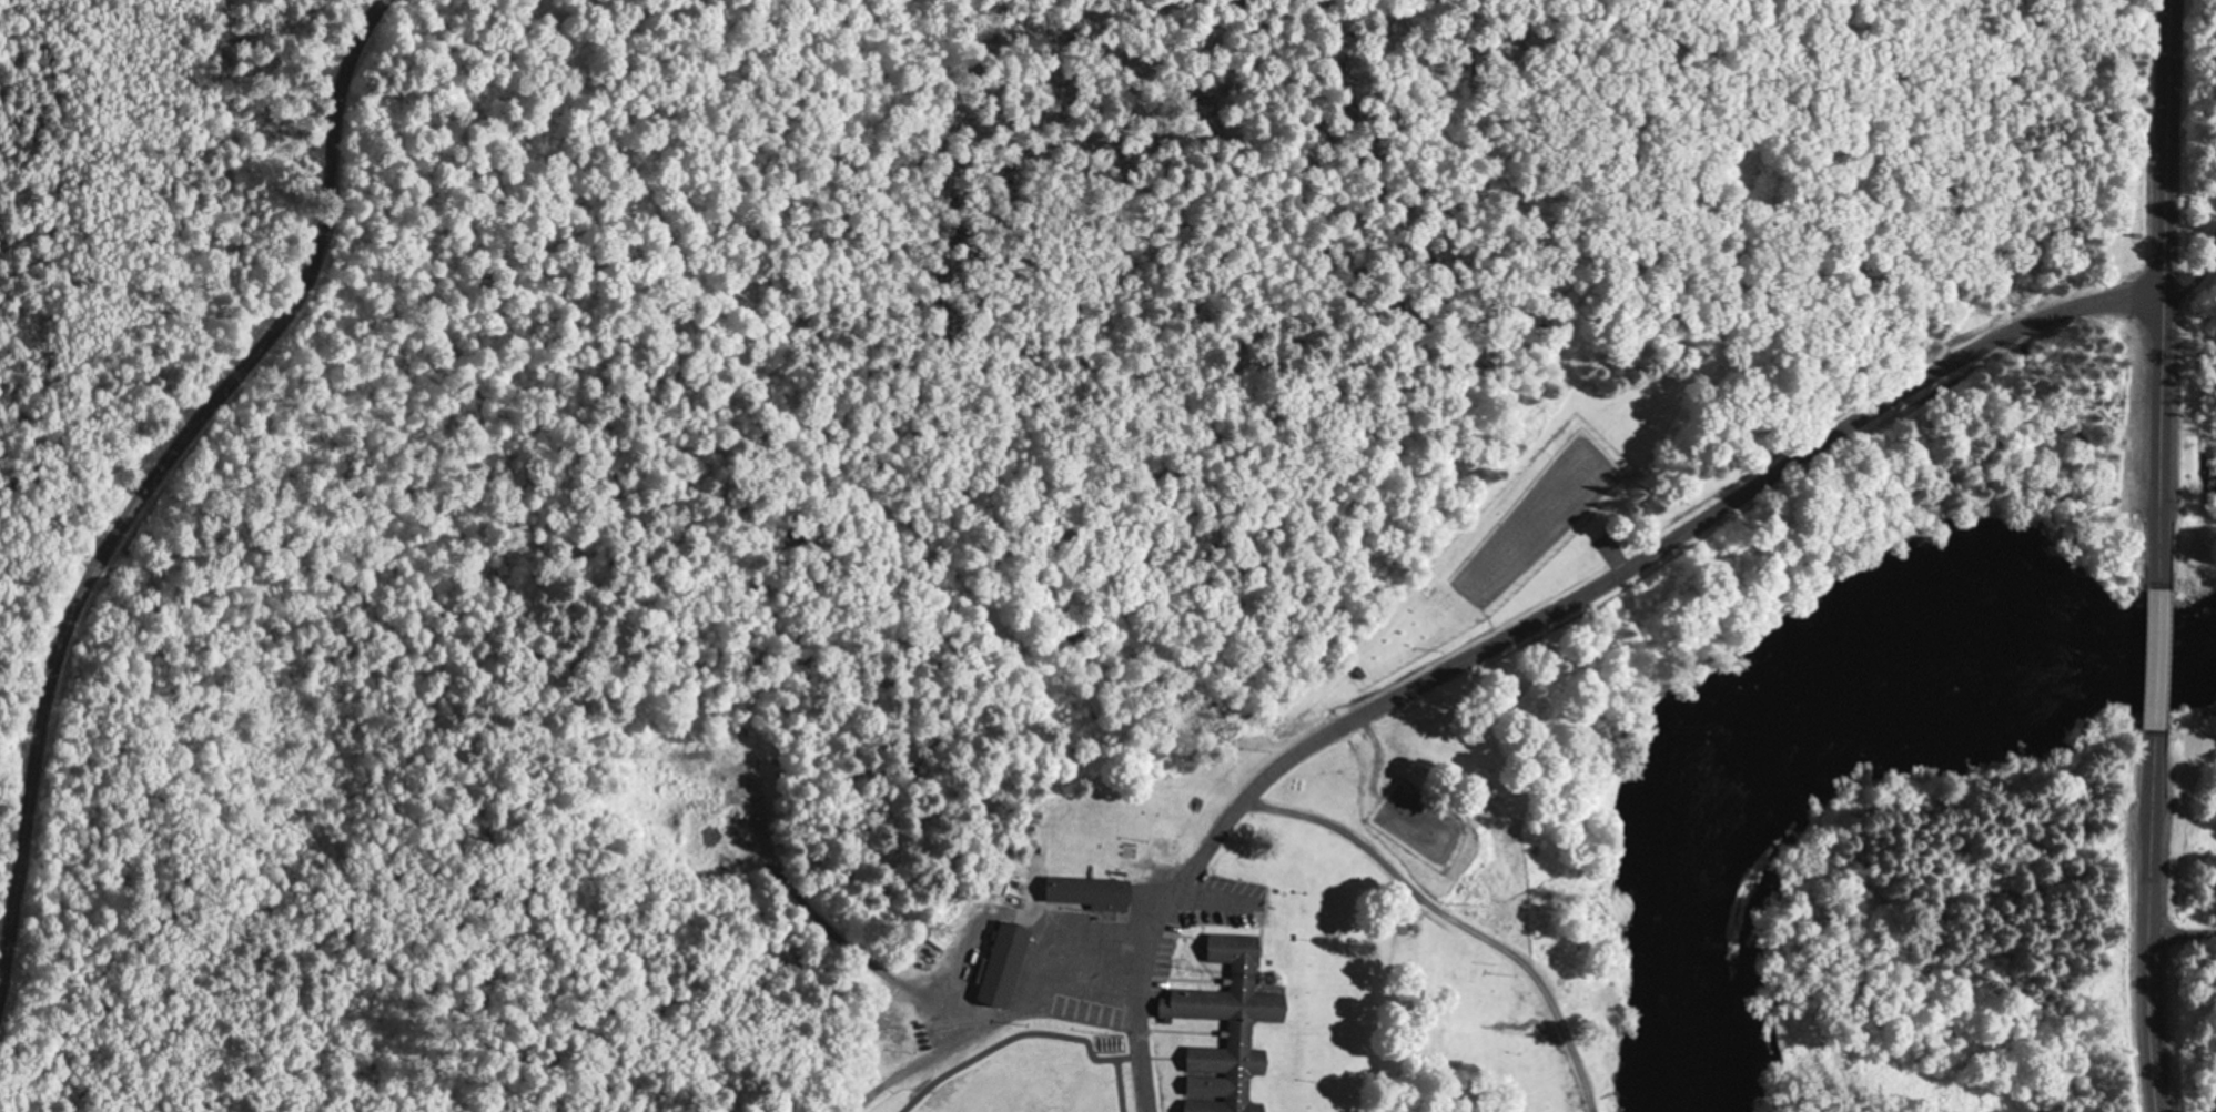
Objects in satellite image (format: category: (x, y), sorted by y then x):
road: (2163, 276)
road: (160, 467)
road: (1480, 643)
road: (2154, 660)
river: (1793, 737)
building: (1087, 893)
road: (2153, 940)
building: (1003, 966)
building: (1239, 1034)

